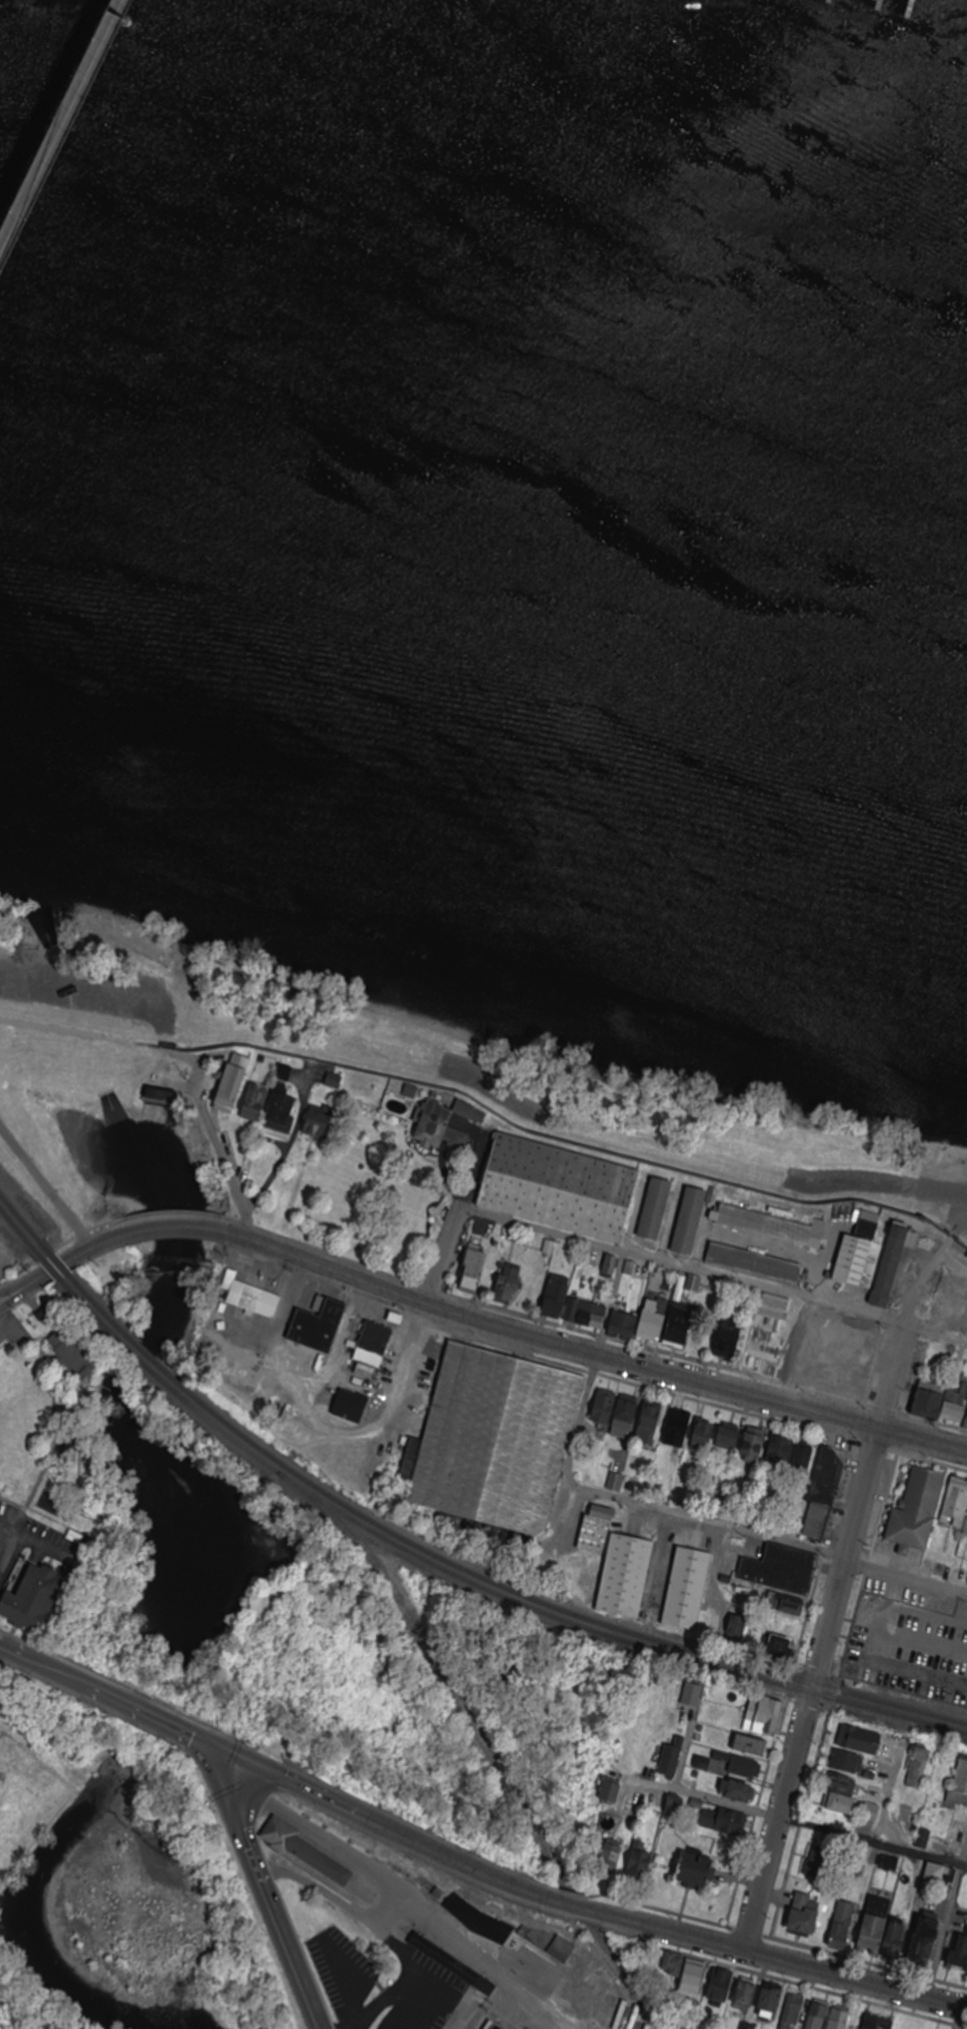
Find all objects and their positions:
road: (61, 127)
river: (483, 446)
road: (219, 1154)
road: (480, 1176)
road: (46, 1188)
building: (560, 1189)
building: (658, 1210)
railway: (22, 1219)
building: (773, 1226)
road: (178, 1227)
railway: (18, 1230)
road: (111, 1240)
road: (443, 1251)
railway: (57, 1261)
building: (758, 1266)
railway: (50, 1268)
road: (52, 1272)
road: (718, 1277)
road: (6, 1296)
road: (6, 1300)
railway: (103, 1310)
railway: (96, 1316)
road: (6, 1328)
railway: (148, 1354)
road: (592, 1354)
building: (845, 1355)
railway: (140, 1361)
road: (593, 1369)
road: (55, 1411)
park: (45, 1414)
building: (69, 1417)
building: (496, 1443)
road: (13, 1505)
road: (17, 1519)
road: (4, 1525)
road: (4, 1535)
road: (767, 1538)
road: (39, 1542)
building: (626, 1576)
building: (689, 1587)
road: (838, 1588)
building: (35, 1597)
railway: (537, 1602)
railway: (533, 1611)
road: (13, 1653)
road: (59, 1675)
road: (164, 1724)
railway: (480, 1746)
traffic signals: (239, 1759)
road: (296, 1786)
road: (777, 1818)
road: (243, 1819)
building: (305, 1848)
road: (451, 1858)
road: (573, 1906)
road: (946, 1921)
road: (293, 1953)
road: (781, 1963)
building: (490, 2026)

